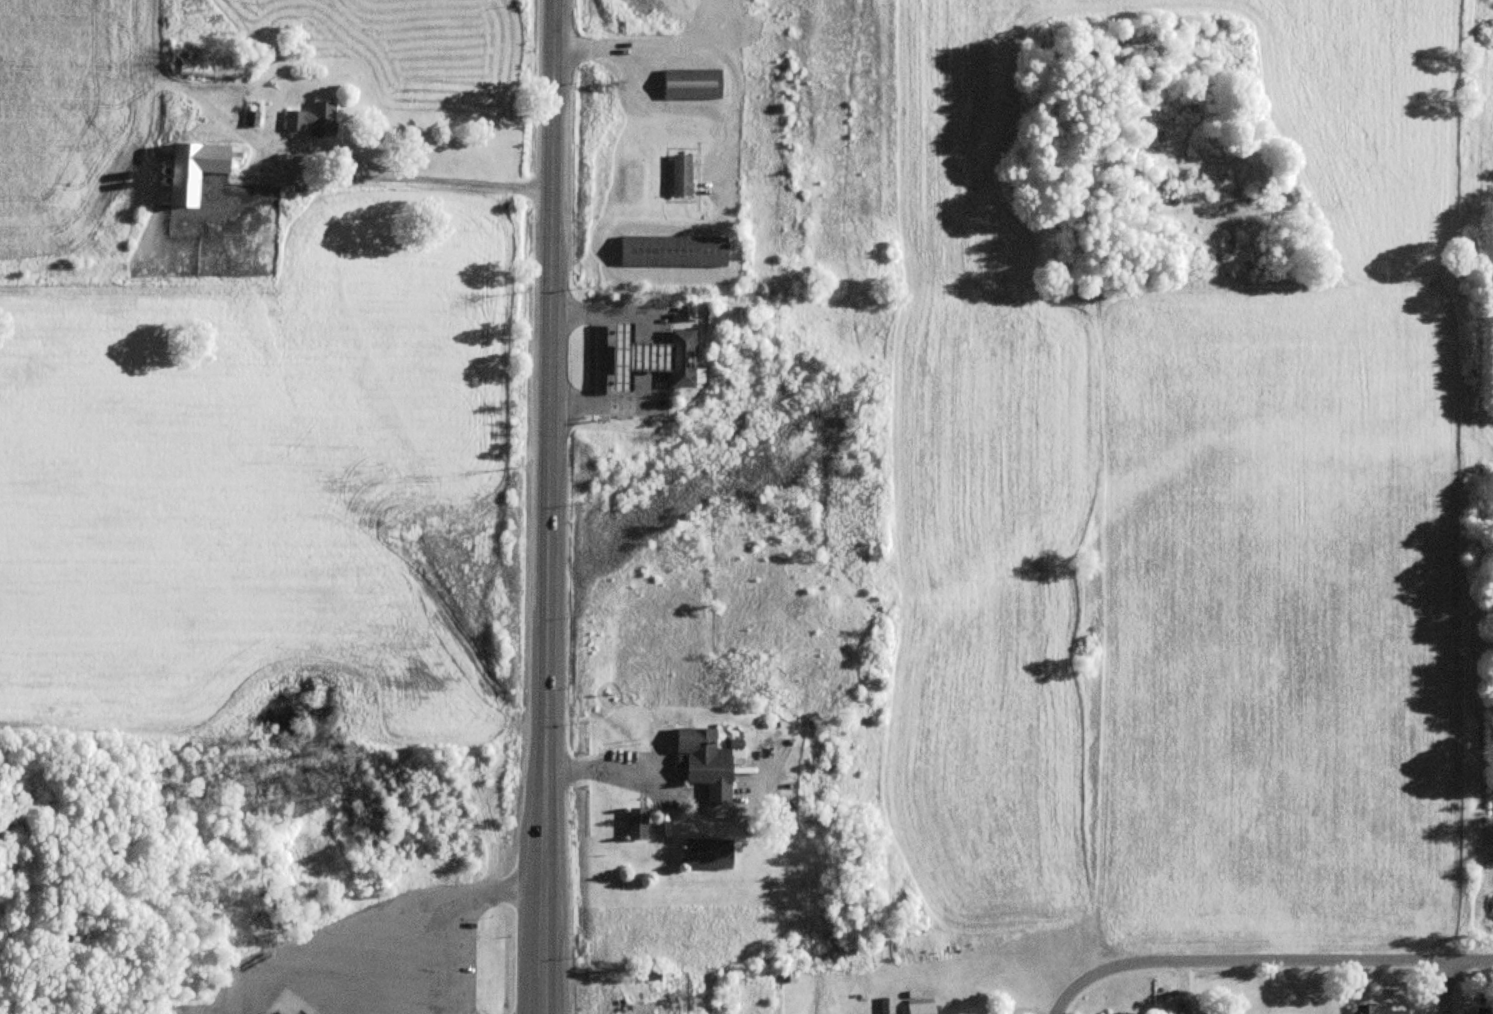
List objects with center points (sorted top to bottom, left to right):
road: (721, 52)
building: (212, 68)
building: (691, 84)
building: (310, 121)
building: (194, 170)
building: (680, 176)
building: (672, 252)
building: (633, 355)
road: (600, 356)
building: (680, 356)
road: (547, 507)
building: (703, 764)
building: (635, 825)
building: (706, 855)
road: (1298, 957)
road: (1074, 985)
road: (1448, 986)
building: (919, 1008)
building: (1378, 1010)
building: (296, 1011)
building: (1484, 1011)

